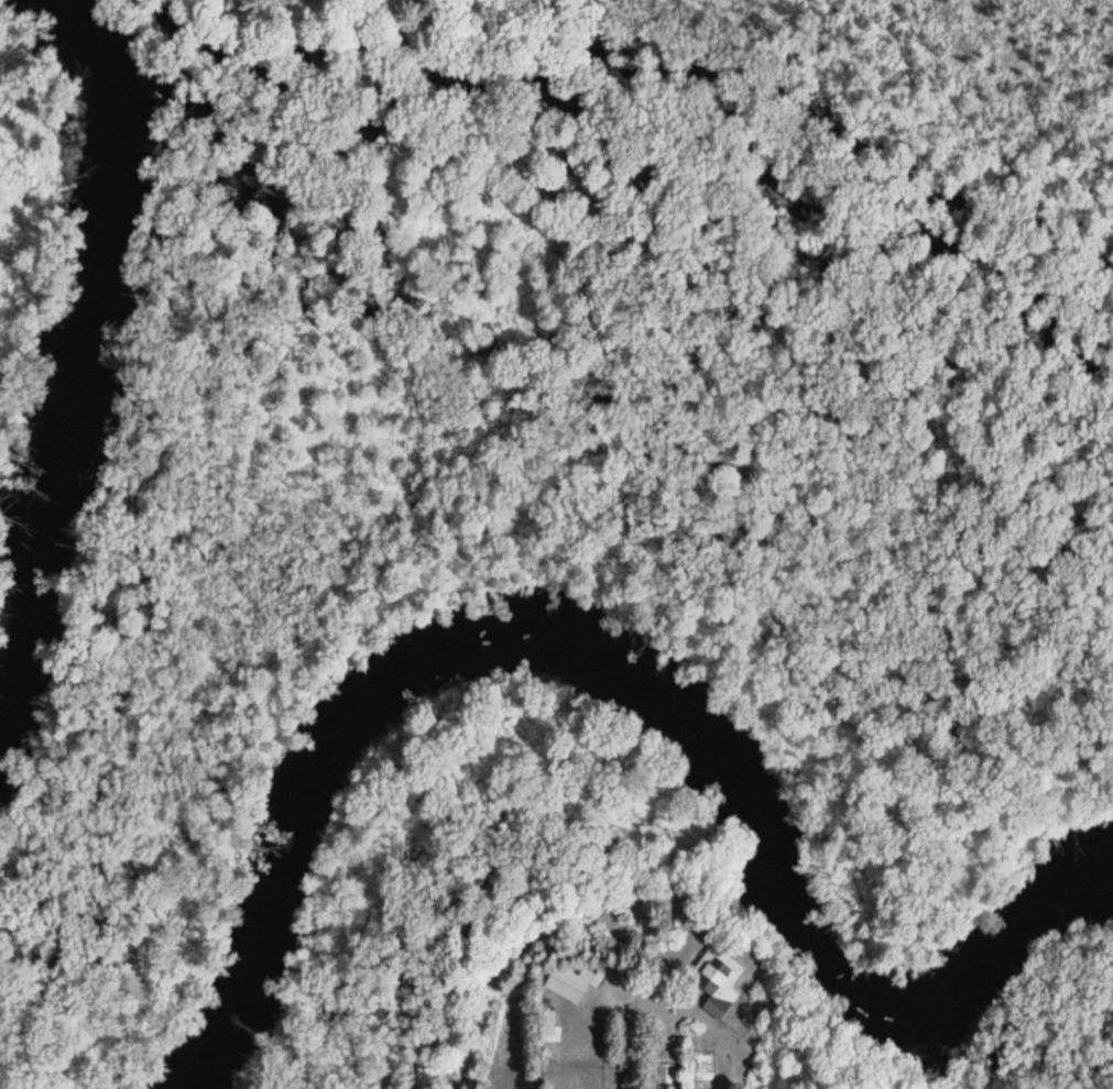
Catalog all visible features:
river: (97, 365)
river: (621, 682)
building: (718, 982)
building: (570, 985)
building: (550, 1027)
building: (666, 1074)

